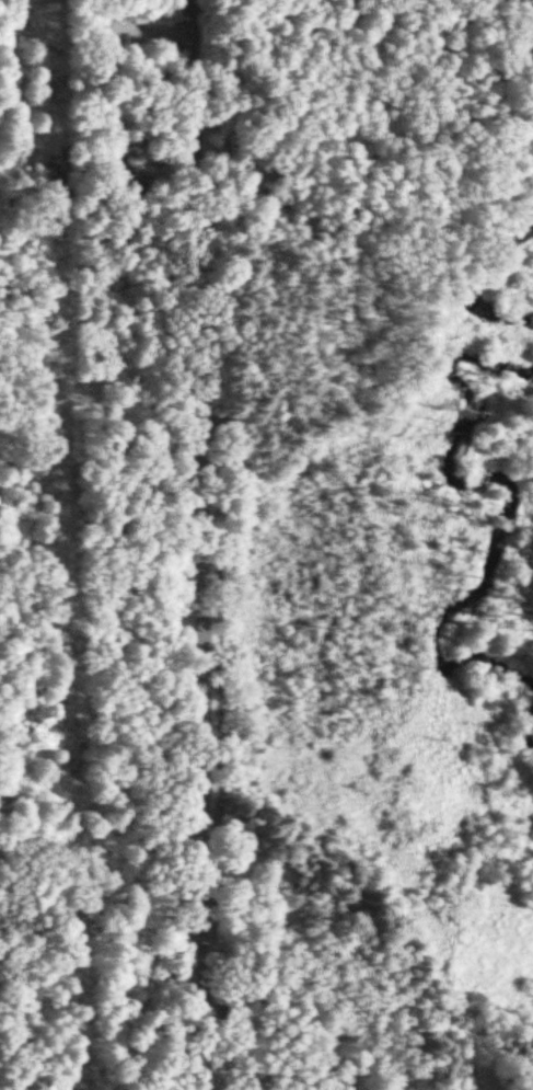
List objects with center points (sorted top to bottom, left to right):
road: (195, 544)

